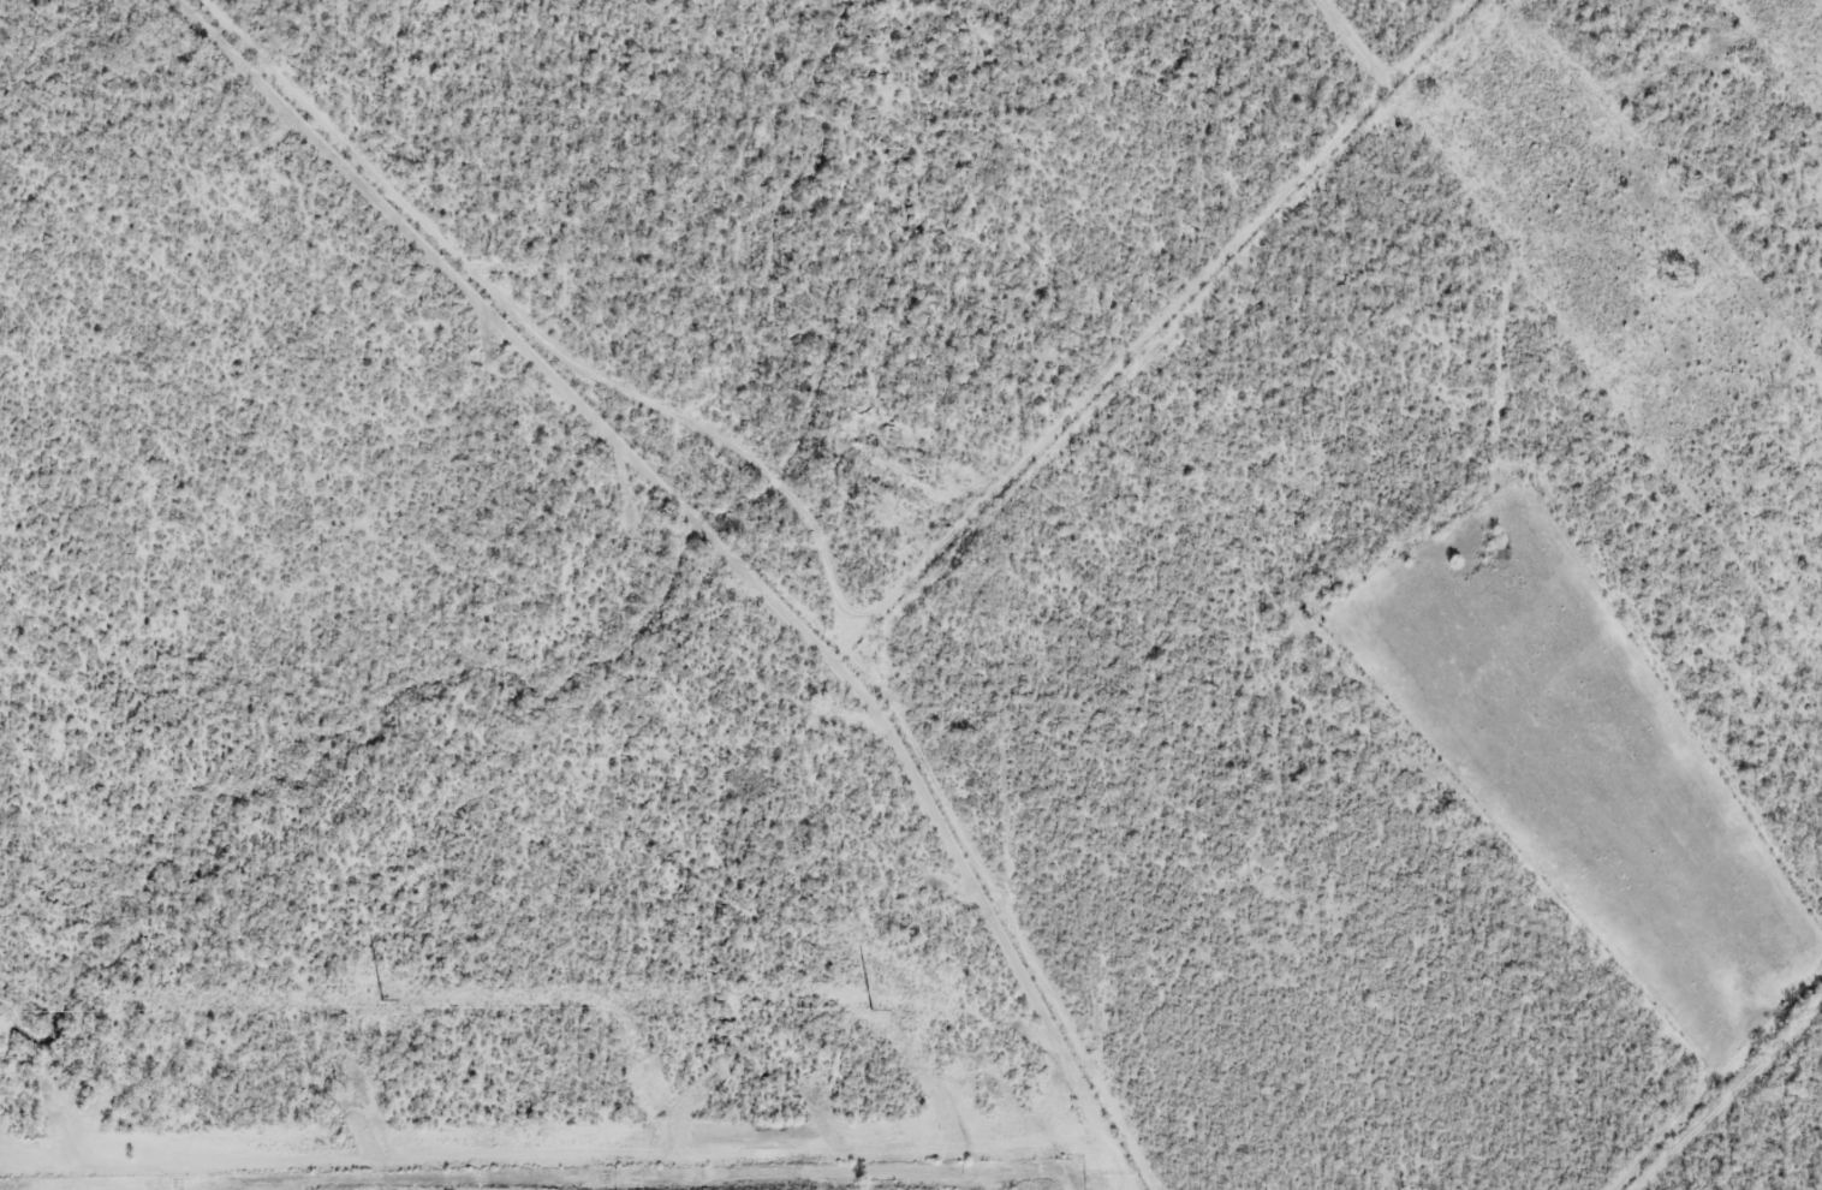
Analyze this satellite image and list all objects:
power tower: (383, 1000)
power tower: (874, 1008)

